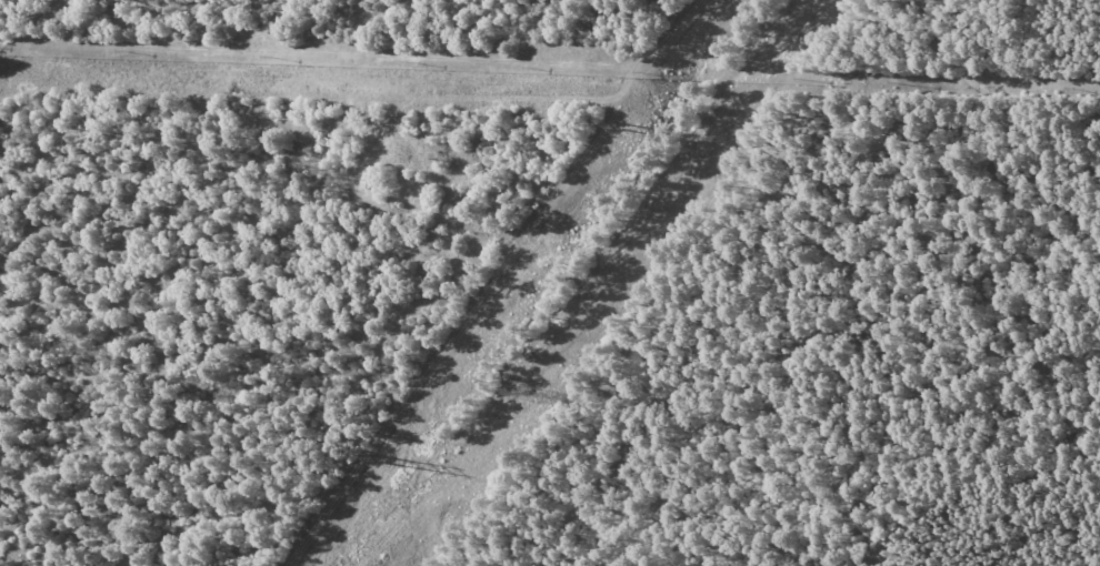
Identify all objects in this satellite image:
power tower: (622, 127)
power tower: (530, 396)
power tower: (380, 461)

